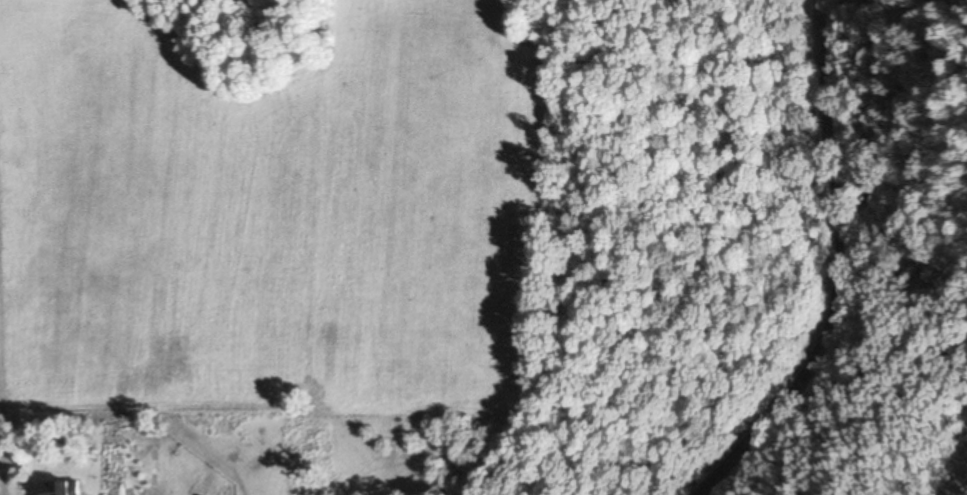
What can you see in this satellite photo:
road: (826, 267)
building: (59, 488)

